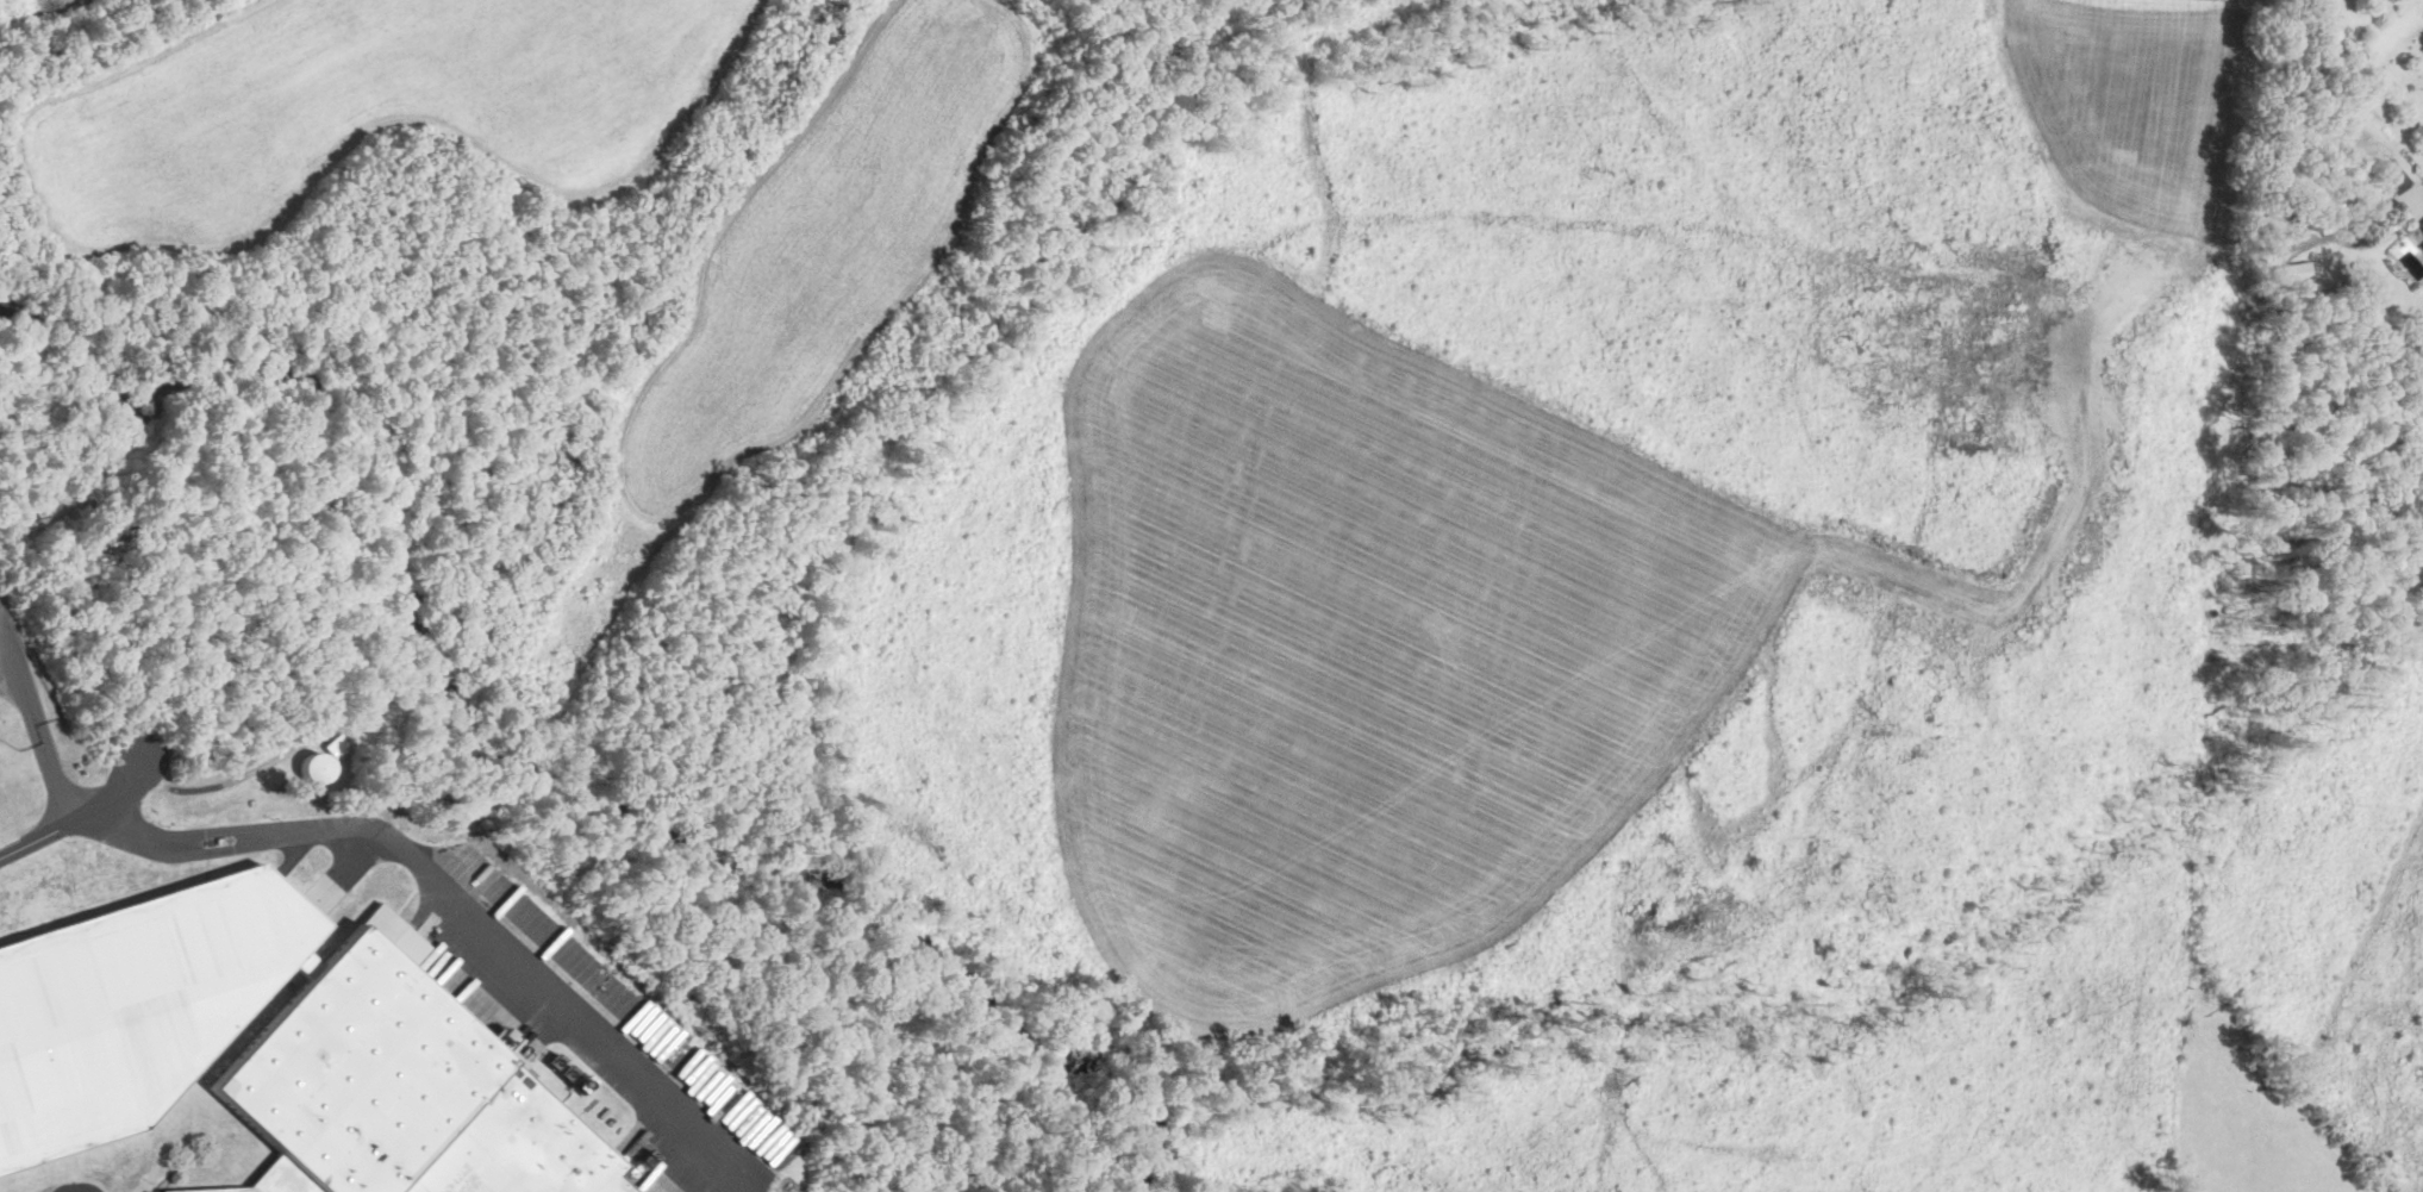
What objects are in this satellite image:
building: (2387, 179)
building: (2418, 230)
building: (2294, 274)
road: (45, 725)
building: (317, 768)
storage tank: (317, 768)
road: (81, 825)
road: (464, 904)
building: (135, 1006)
building: (398, 1096)

